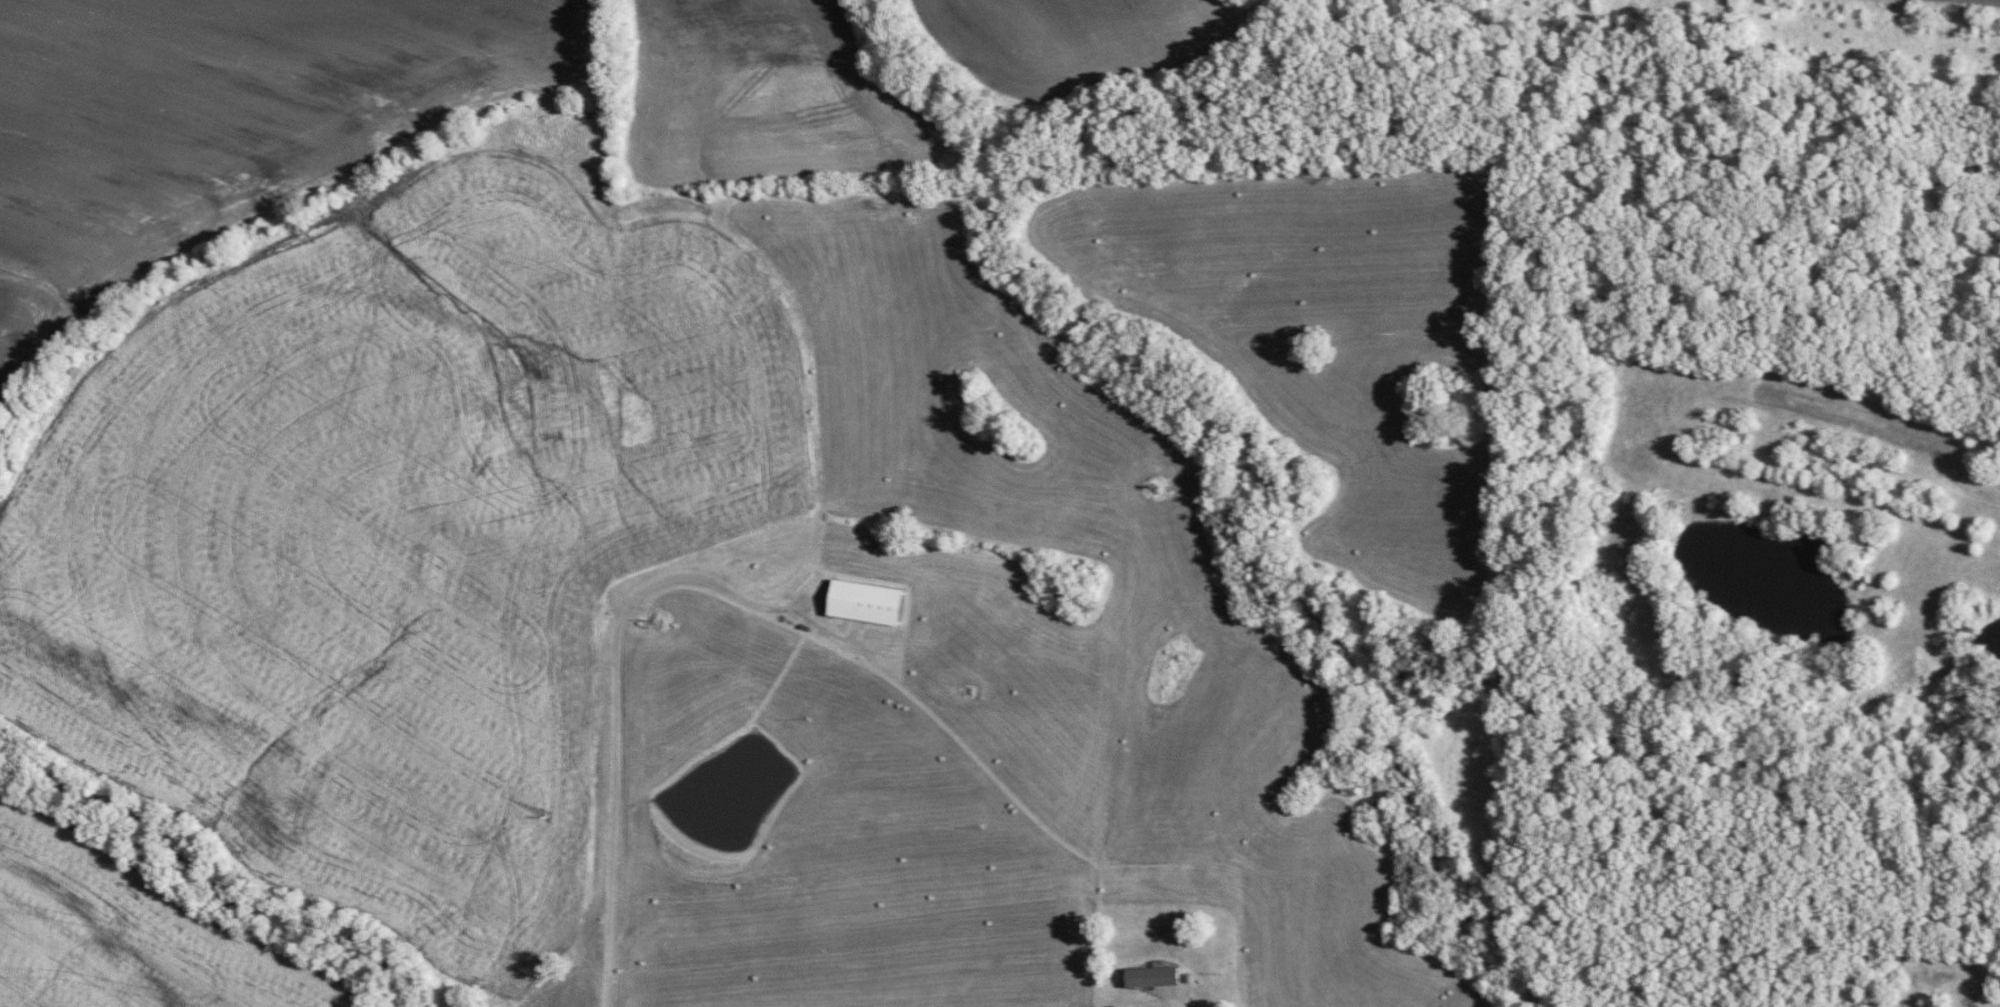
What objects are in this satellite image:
building: (432, 571)
building: (865, 602)
road: (612, 784)
building: (1929, 976)
building: (1152, 978)

